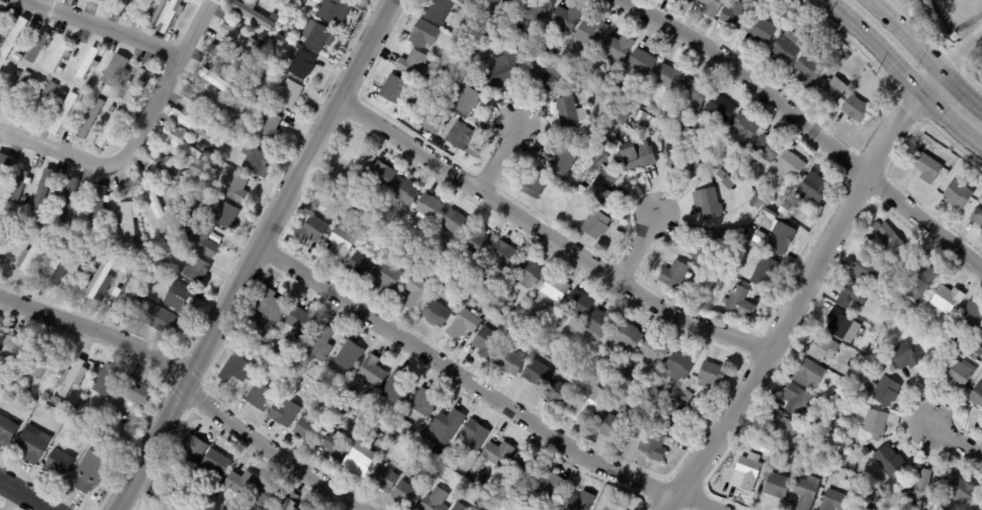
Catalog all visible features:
building: (86, 0)
building: (111, 0)
building: (112, 0)
building: (304, 1)
building: (516, 1)
building: (685, 1)
building: (274, 2)
building: (462, 2)
building: (301, 6)
building: (537, 6)
building: (709, 7)
building: (130, 8)
building: (335, 11)
building: (436, 11)
building: (154, 12)
building: (254, 13)
building: (734, 15)
building: (173, 16)
building: (274, 16)
building: (565, 17)
building: (2, 19)
building: (503, 24)
road: (110, 26)
building: (461, 27)
building: (759, 30)
building: (589, 33)
building: (290, 34)
building: (422, 34)
road: (905, 35)
building: (318, 36)
building: (242, 37)
building: (263, 38)
building: (15, 39)
building: (280, 40)
building: (41, 46)
building: (784, 48)
building: (616, 49)
building: (61, 56)
building: (231, 59)
building: (844, 60)
building: (90, 62)
building: (41, 63)
building: (303, 63)
building: (641, 63)
building: (411, 64)
building: (808, 69)
building: (500, 71)
building: (118, 72)
road: (902, 73)
building: (2, 77)
building: (667, 77)
building: (539, 79)
building: (221, 83)
building: (242, 83)
road: (931, 83)
building: (137, 85)
building: (89, 86)
building: (102, 88)
building: (828, 89)
road: (960, 89)
building: (393, 91)
building: (38, 92)
building: (292, 93)
building: (18, 94)
building: (63, 94)
building: (122, 95)
building: (691, 96)
building: (633, 97)
building: (607, 98)
building: (464, 100)
building: (203, 101)
building: (254, 101)
building: (41, 102)
building: (233, 106)
building: (720, 108)
building: (855, 109)
building: (112, 110)
building: (62, 113)
building: (569, 113)
building: (623, 113)
building: (90, 119)
building: (192, 122)
building: (645, 122)
building: (238, 124)
building: (271, 126)
building: (430, 126)
building: (111, 128)
road: (804, 129)
building: (741, 131)
building: (456, 134)
building: (606, 134)
road: (137, 136)
building: (232, 141)
building: (610, 143)
building: (183, 144)
building: (202, 145)
building: (765, 148)
building: (471, 153)
building: (714, 154)
road: (496, 156)
building: (635, 156)
building: (353, 157)
building: (562, 157)
building: (257, 161)
building: (597, 162)
building: (220, 165)
building: (681, 165)
building: (788, 166)
building: (194, 167)
building: (5, 169)
building: (926, 169)
building: (176, 170)
building: (720, 173)
building: (380, 175)
building: (580, 182)
building: (533, 185)
building: (22, 186)
building: (240, 187)
building: (813, 187)
building: (578, 189)
building: (601, 189)
building: (43, 191)
building: (957, 193)
building: (401, 194)
building: (72, 199)
building: (155, 199)
building: (757, 202)
building: (170, 204)
building: (705, 204)
building: (100, 208)
building: (427, 209)
building: (784, 209)
building: (227, 214)
building: (976, 217)
building: (129, 220)
building: (185, 220)
building: (16, 223)
building: (453, 223)
building: (109, 224)
building: (594, 225)
building: (392, 227)
building: (38, 228)
building: (310, 230)
building: (4, 232)
building: (68, 237)
road: (546, 238)
building: (753, 239)
building: (141, 240)
building: (680, 240)
building: (780, 240)
building: (205, 241)
building: (887, 241)
building: (475, 243)
building: (339, 244)
building: (739, 245)
building: (703, 248)
road: (635, 250)
road: (250, 253)
building: (32, 255)
building: (502, 256)
building: (65, 265)
building: (358, 265)
building: (865, 268)
building: (199, 269)
building: (56, 270)
building: (162, 272)
building: (763, 272)
building: (527, 274)
building: (672, 275)
building: (387, 276)
building: (100, 277)
building: (148, 282)
building: (921, 282)
building: (127, 284)
building: (553, 289)
building: (149, 293)
building: (411, 293)
building: (851, 294)
building: (182, 295)
building: (947, 298)
building: (723, 301)
building: (739, 302)
road: (793, 302)
building: (576, 304)
building: (88, 306)
building: (271, 306)
building: (884, 306)
building: (914, 311)
building: (435, 313)
building: (725, 313)
building: (970, 316)
building: (163, 321)
building: (298, 323)
building: (461, 324)
building: (841, 324)
building: (599, 325)
building: (869, 329)
building: (953, 335)
building: (626, 338)
building: (941, 343)
building: (981, 343)
building: (485, 344)
building: (318, 345)
building: (821, 347)
building: (976, 349)
building: (651, 352)
building: (8, 354)
building: (904, 356)
building: (347, 357)
building: (41, 361)
building: (508, 362)
building: (677, 367)
building: (234, 370)
building: (957, 371)
building: (370, 372)
building: (808, 373)
building: (534, 374)
building: (709, 376)
building: (321, 377)
building: (73, 378)
building: (108, 382)
road: (187, 386)
building: (393, 389)
road: (475, 389)
building: (883, 389)
building: (22, 390)
building: (139, 392)
building: (348, 393)
building: (852, 393)
building: (558, 394)
building: (975, 395)
building: (258, 397)
building: (684, 397)
building: (366, 398)
building: (833, 399)
building: (59, 400)
building: (796, 400)
building: (422, 403)
building: (588, 403)
building: (282, 413)
building: (878, 422)
building: (403, 424)
building: (668, 424)
building: (608, 426)
building: (371, 428)
building: (444, 428)
building: (780, 428)
building: (306, 429)
building: (7, 431)
building: (382, 435)
building: (405, 435)
building: (472, 436)
road: (956, 442)
building: (35, 446)
building: (332, 446)
building: (653, 446)
building: (190, 449)
building: (434, 454)
building: (496, 456)
building: (888, 459)
building: (358, 461)
building: (59, 463)
building: (213, 464)
building: (522, 468)
building: (747, 470)
building: (93, 471)
building: (382, 478)
building: (478, 480)
building: (238, 483)
building: (776, 485)
building: (545, 486)
building: (923, 487)
building: (958, 490)
building: (805, 492)
building: (877, 492)
road: (24, 495)
building: (405, 495)
building: (264, 496)
building: (832, 500)
building: (433, 501)
building: (578, 501)
building: (288, 506)
building: (494, 506)
building: (610, 507)
building: (456, 508)
building: (865, 508)

